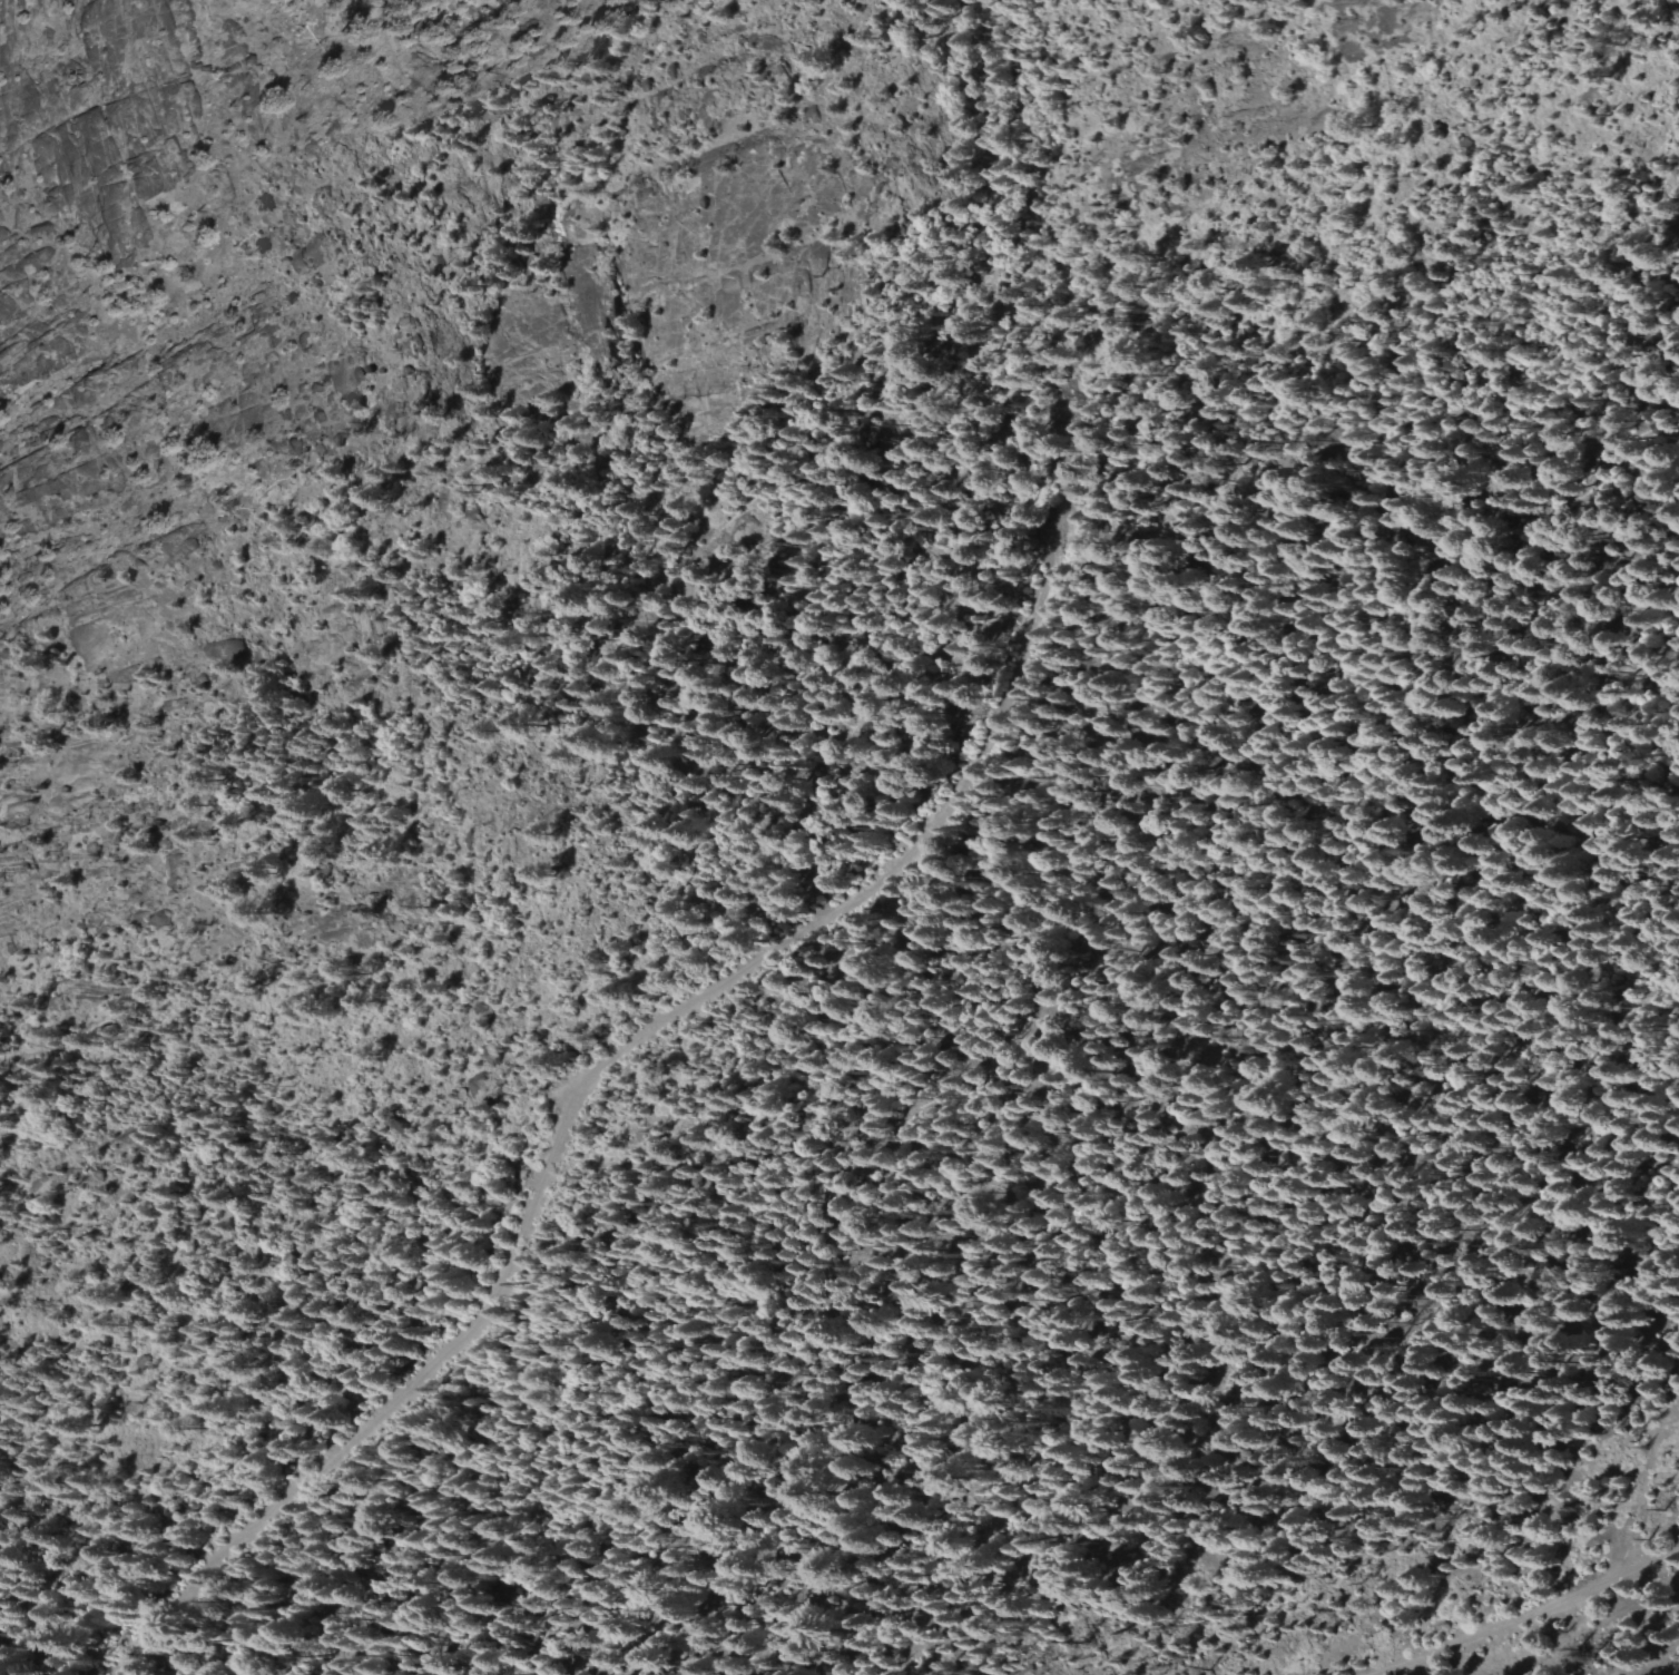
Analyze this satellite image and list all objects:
road: (1534, 1634)

